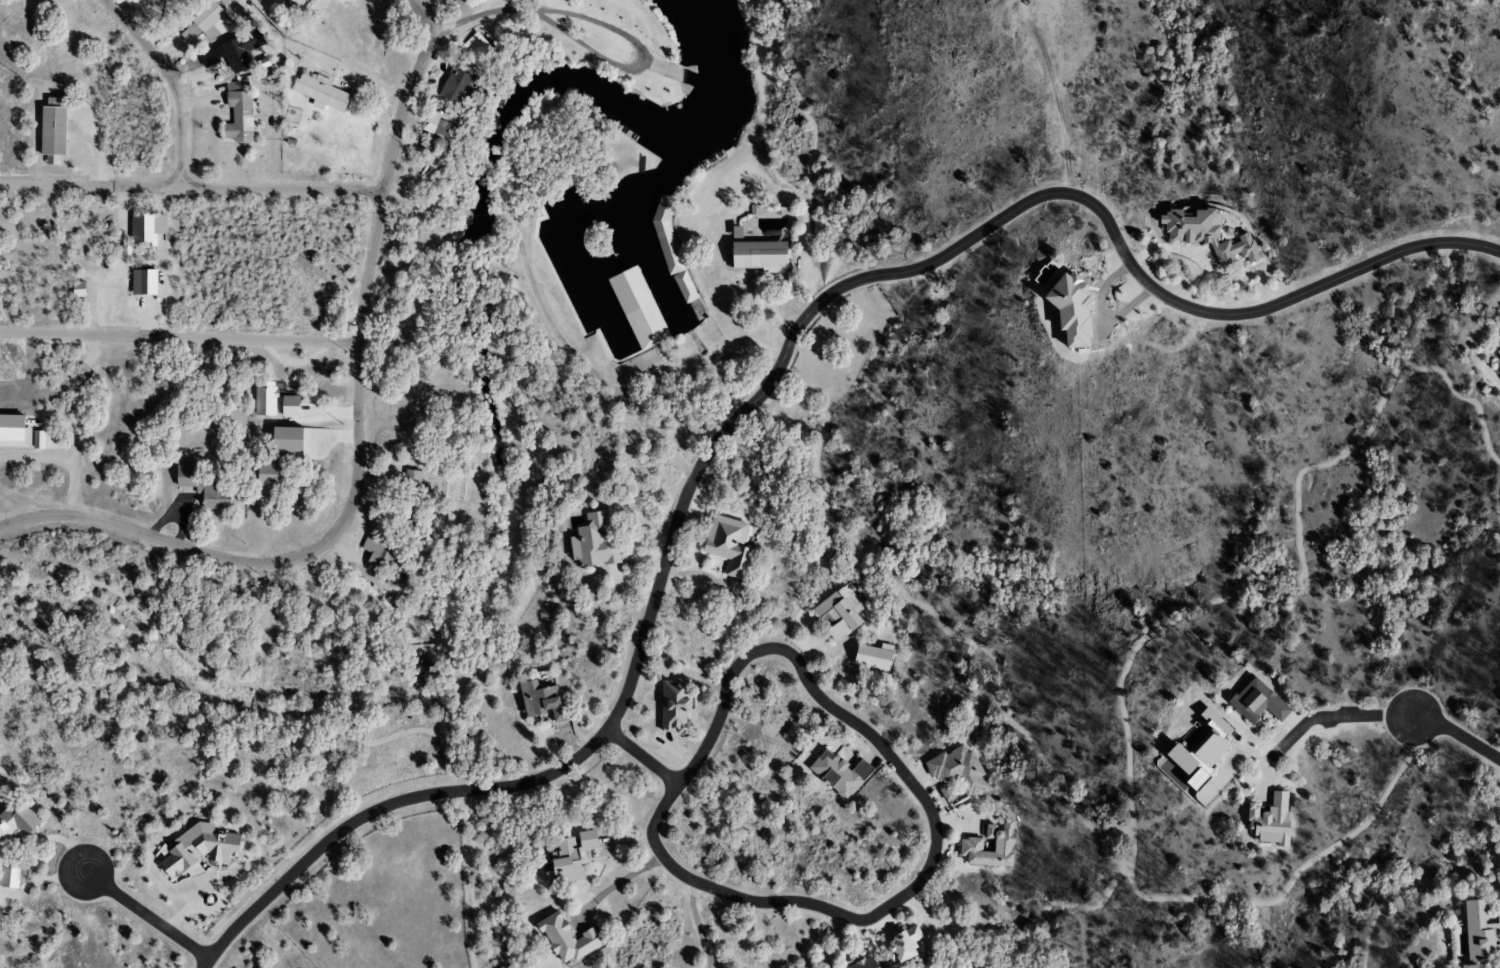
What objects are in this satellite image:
building: (290, 2)
road: (566, 13)
building: (197, 21)
building: (229, 54)
road: (171, 81)
building: (450, 87)
building: (317, 92)
building: (234, 112)
building: (438, 128)
building: (48, 135)
road: (90, 185)
road: (281, 188)
building: (143, 228)
building: (1208, 233)
building: (674, 255)
building: (754, 256)
building: (140, 282)
building: (1498, 324)
building: (648, 325)
road: (180, 336)
building: (1497, 352)
building: (1499, 373)
road: (768, 385)
road: (358, 425)
building: (200, 490)
building: (409, 497)
road: (13, 521)
building: (589, 542)
building: (725, 545)
building: (835, 614)
building: (541, 700)
building: (1255, 702)
road: (1381, 715)
road: (644, 758)
building: (960, 770)
building: (15, 822)
road: (935, 825)
building: (987, 847)
building: (565, 859)
building: (7, 875)
road: (614, 881)
road: (148, 918)
building: (1476, 933)
building: (565, 940)
building: (899, 946)
building: (851, 964)

